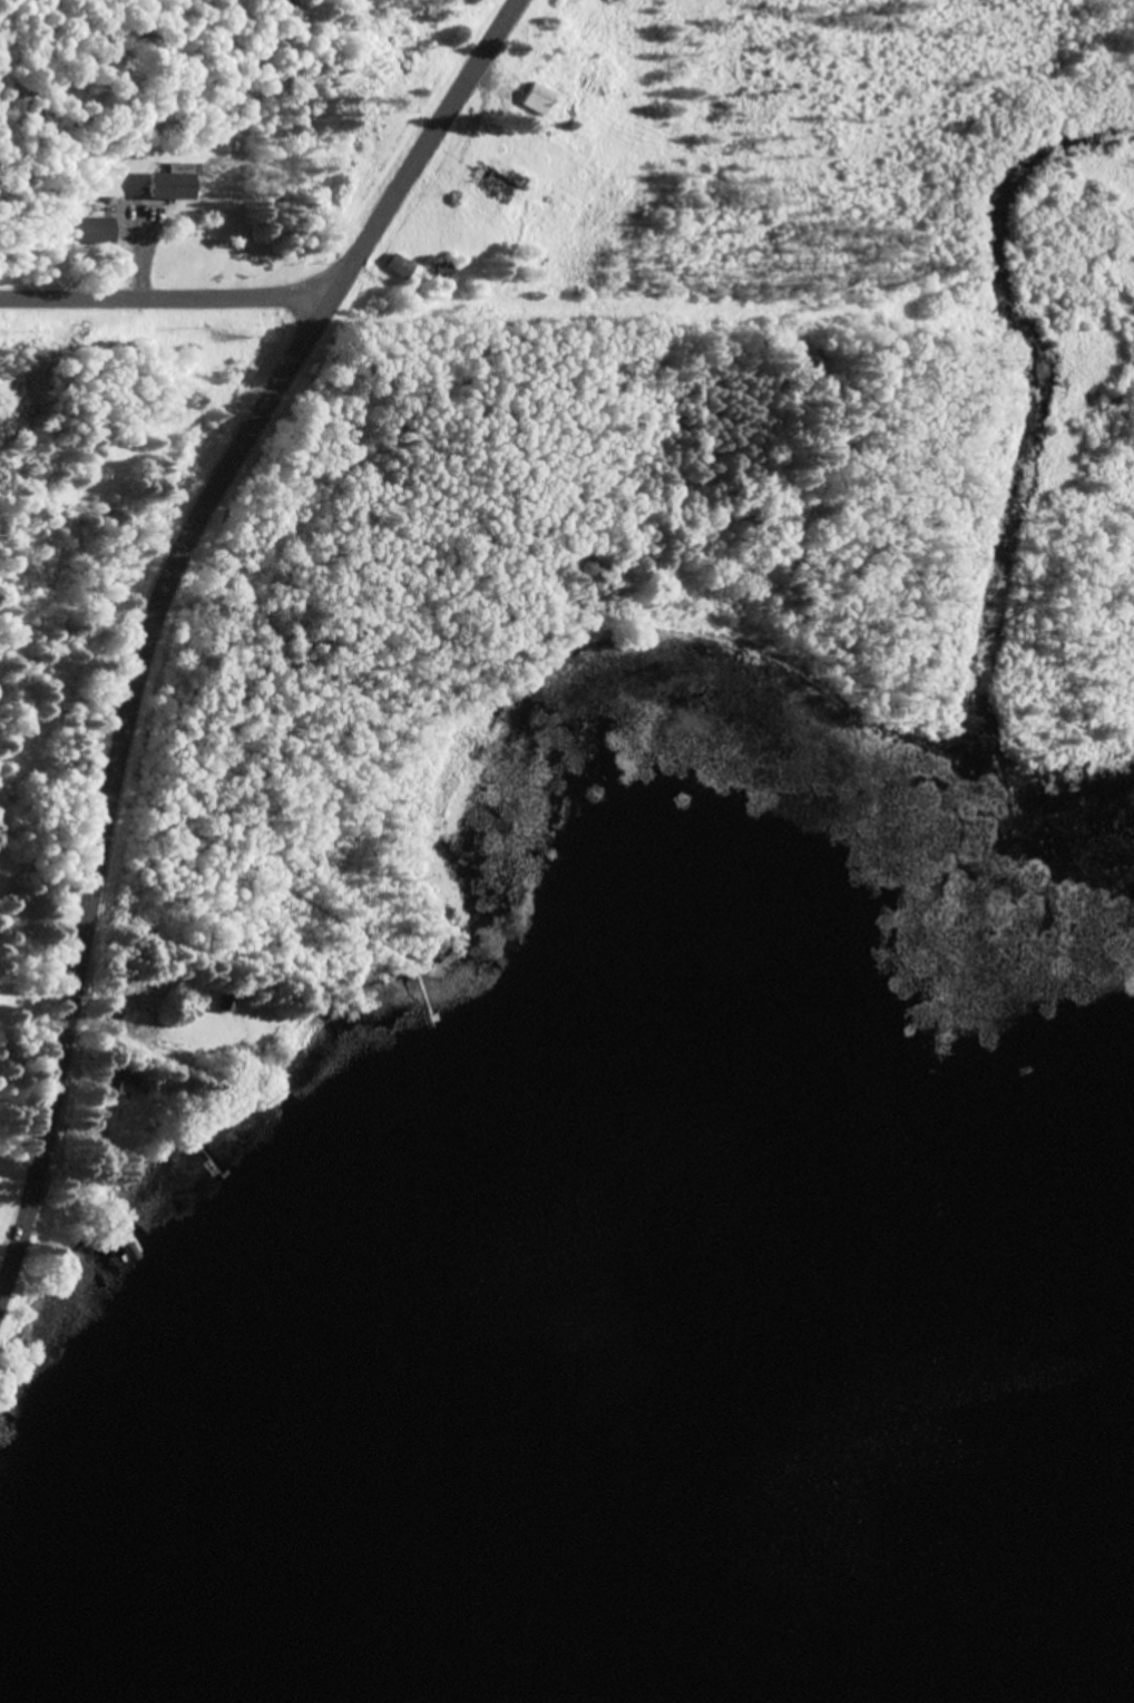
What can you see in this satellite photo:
building: (539, 97)
building: (499, 183)
building: (173, 185)
building: (97, 230)
building: (400, 265)
building: (446, 271)
road: (167, 296)
road: (158, 612)
building: (113, 1015)
building: (118, 1082)

